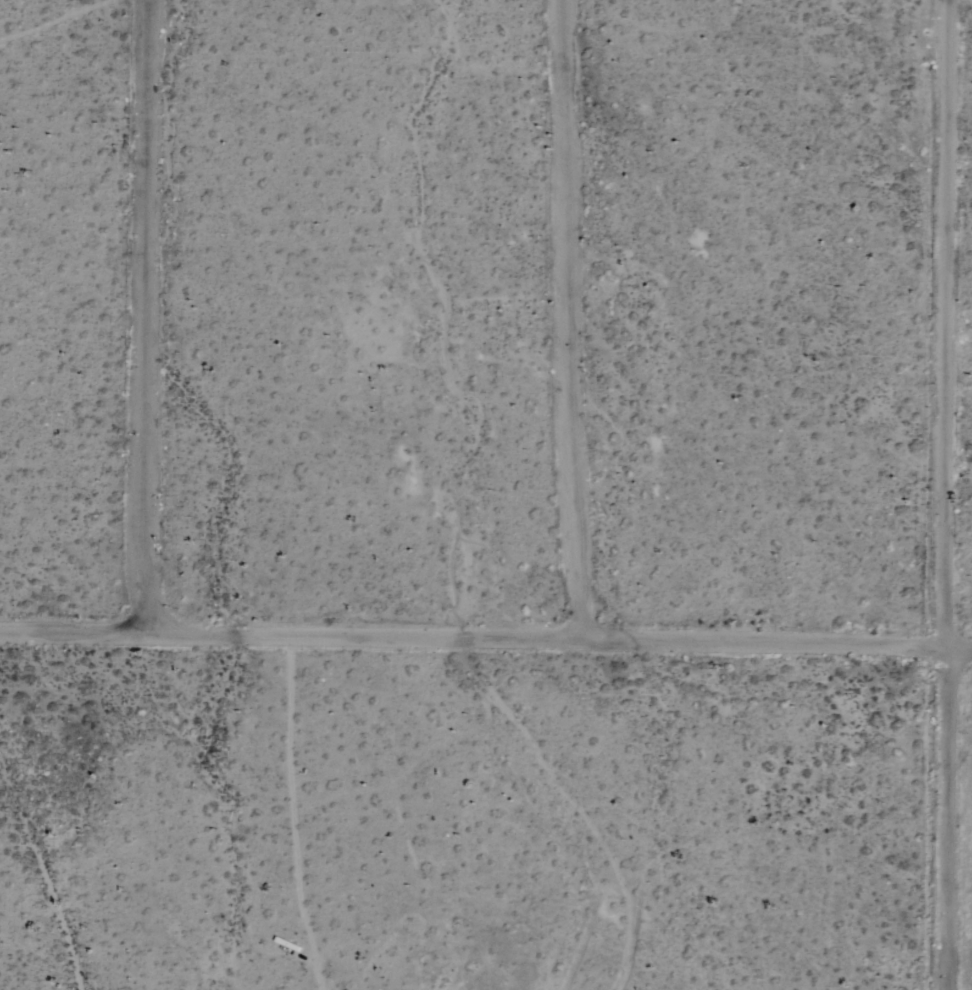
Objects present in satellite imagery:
road: (146, 318)
road: (574, 321)
road: (942, 495)
road: (485, 641)
road: (130, 813)

